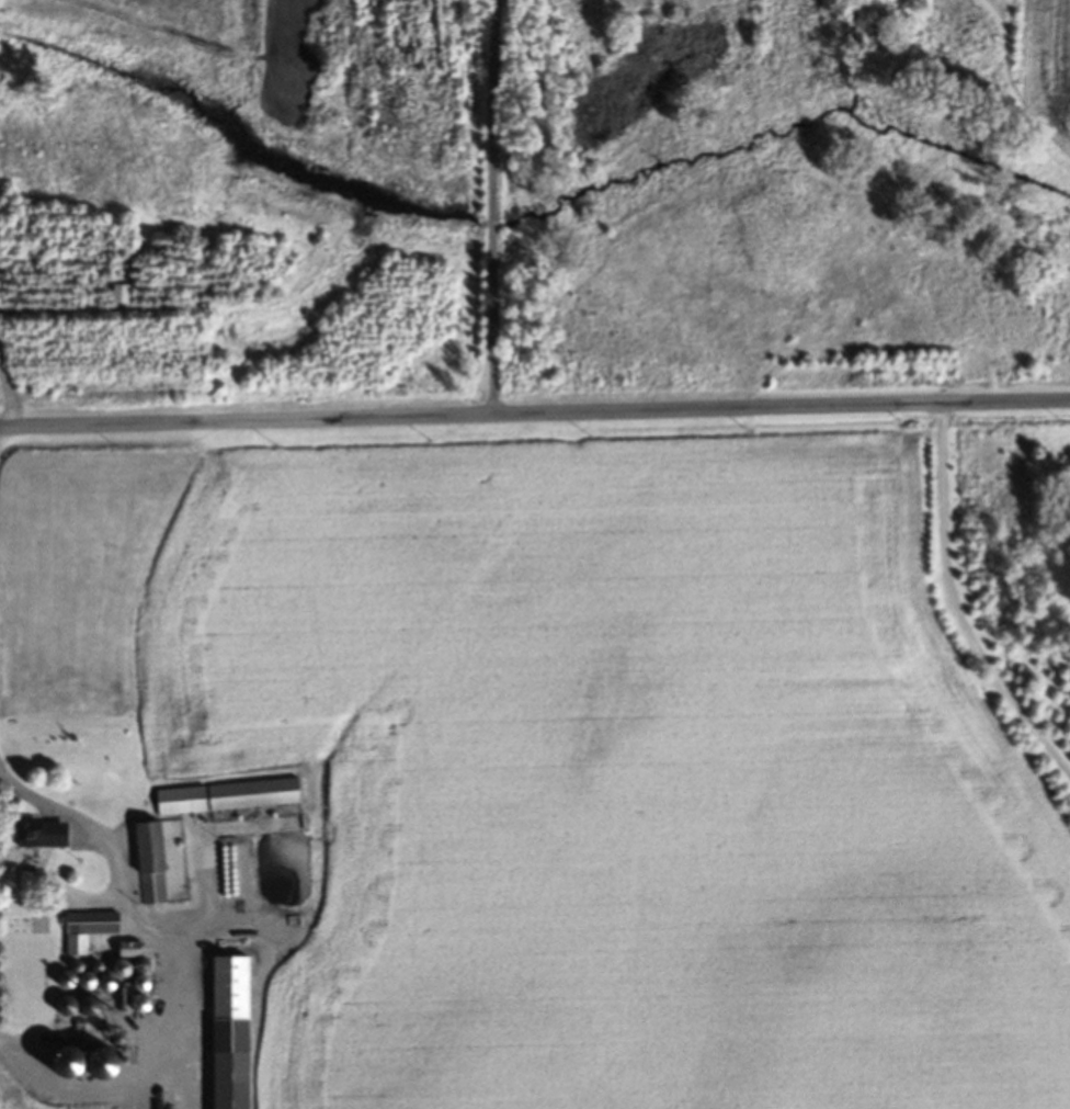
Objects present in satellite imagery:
road: (488, 207)
road: (8, 398)
road: (534, 414)
road: (956, 607)
building: (225, 800)
road: (54, 811)
building: (34, 838)
building: (147, 868)
building: (84, 932)
building: (123, 954)
building: (226, 1034)

